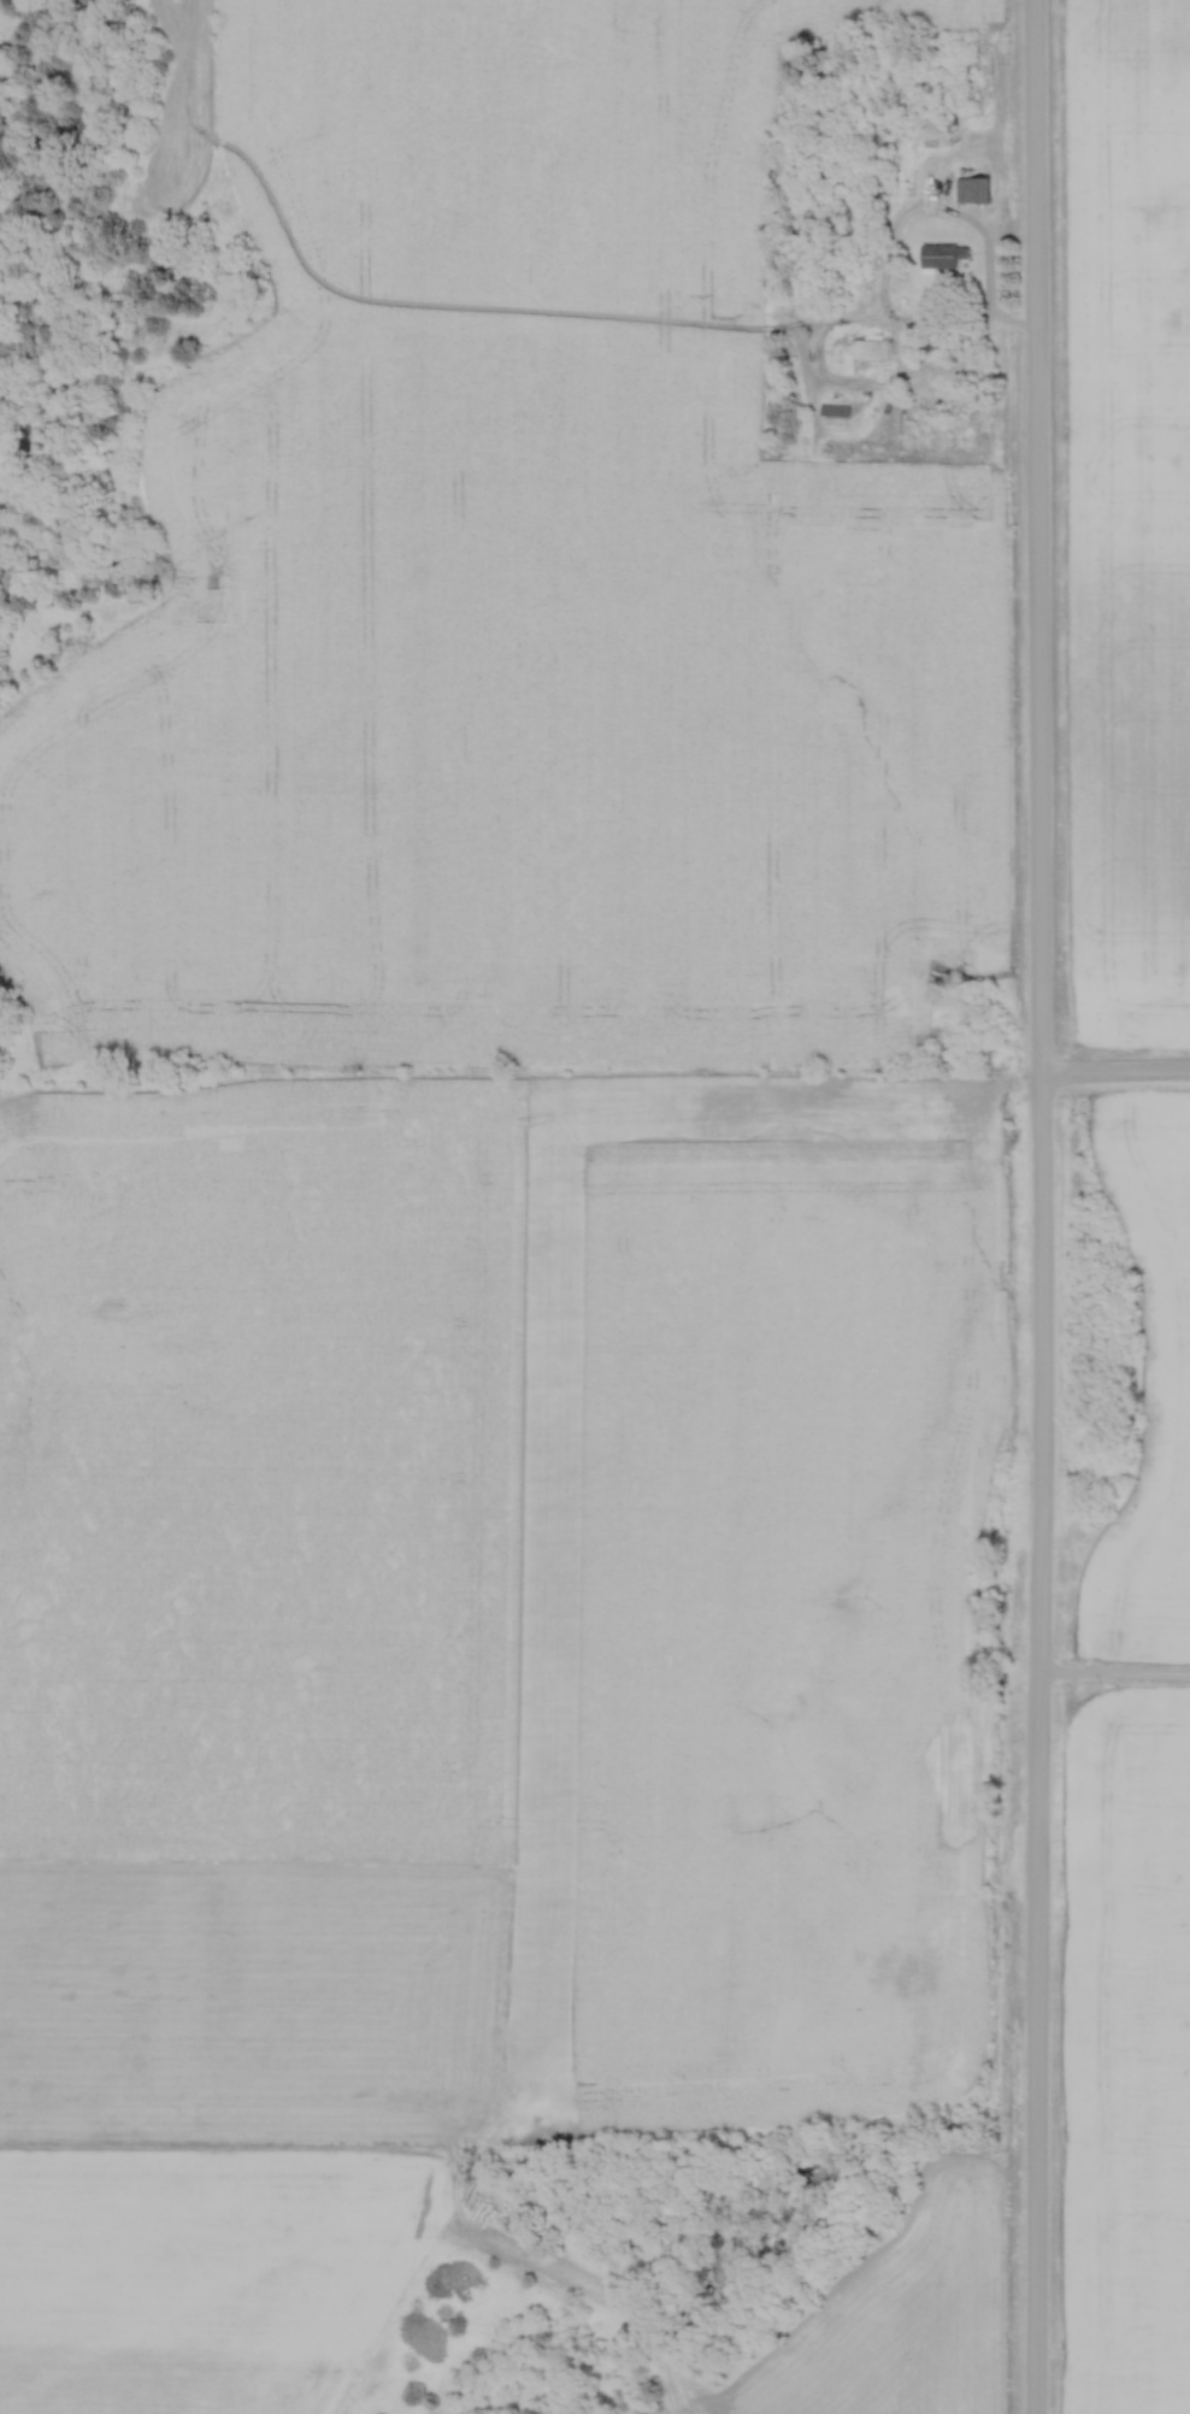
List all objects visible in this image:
building: (972, 189)
building: (938, 257)
road: (988, 282)
building: (833, 410)
road: (1113, 1074)
road: (1035, 1206)
crop: (1168, 1374)
road: (1112, 1676)
crop: (1127, 2056)

